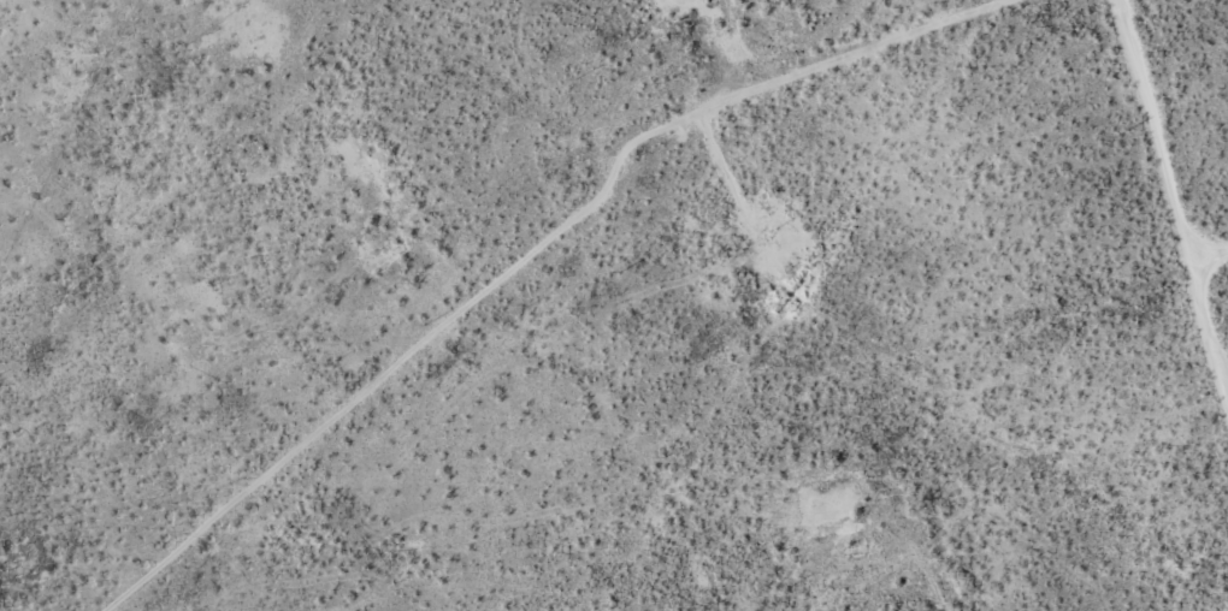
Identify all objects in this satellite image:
road: (1179, 195)

